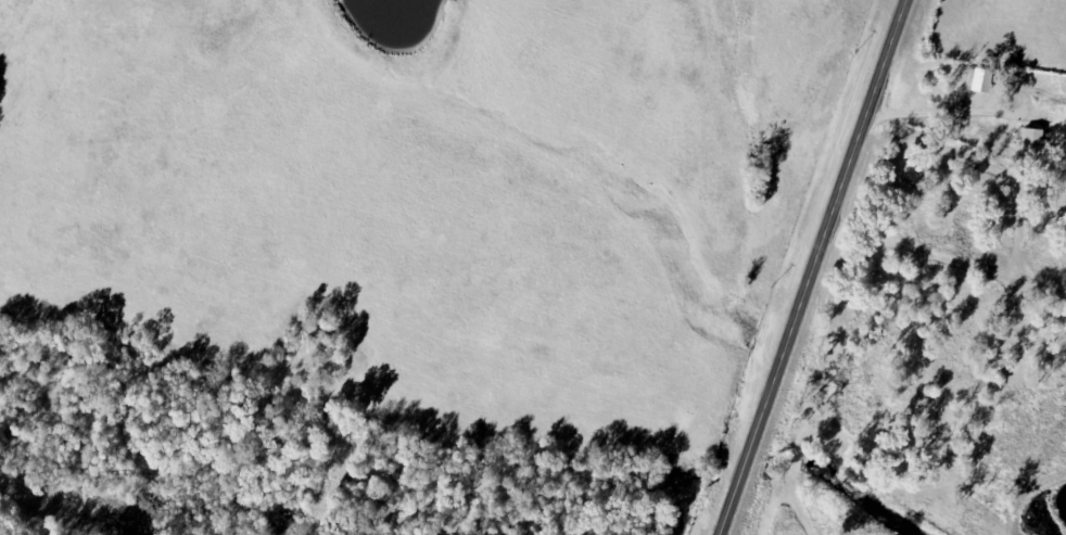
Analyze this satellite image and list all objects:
building: (1030, 142)
road: (811, 266)

